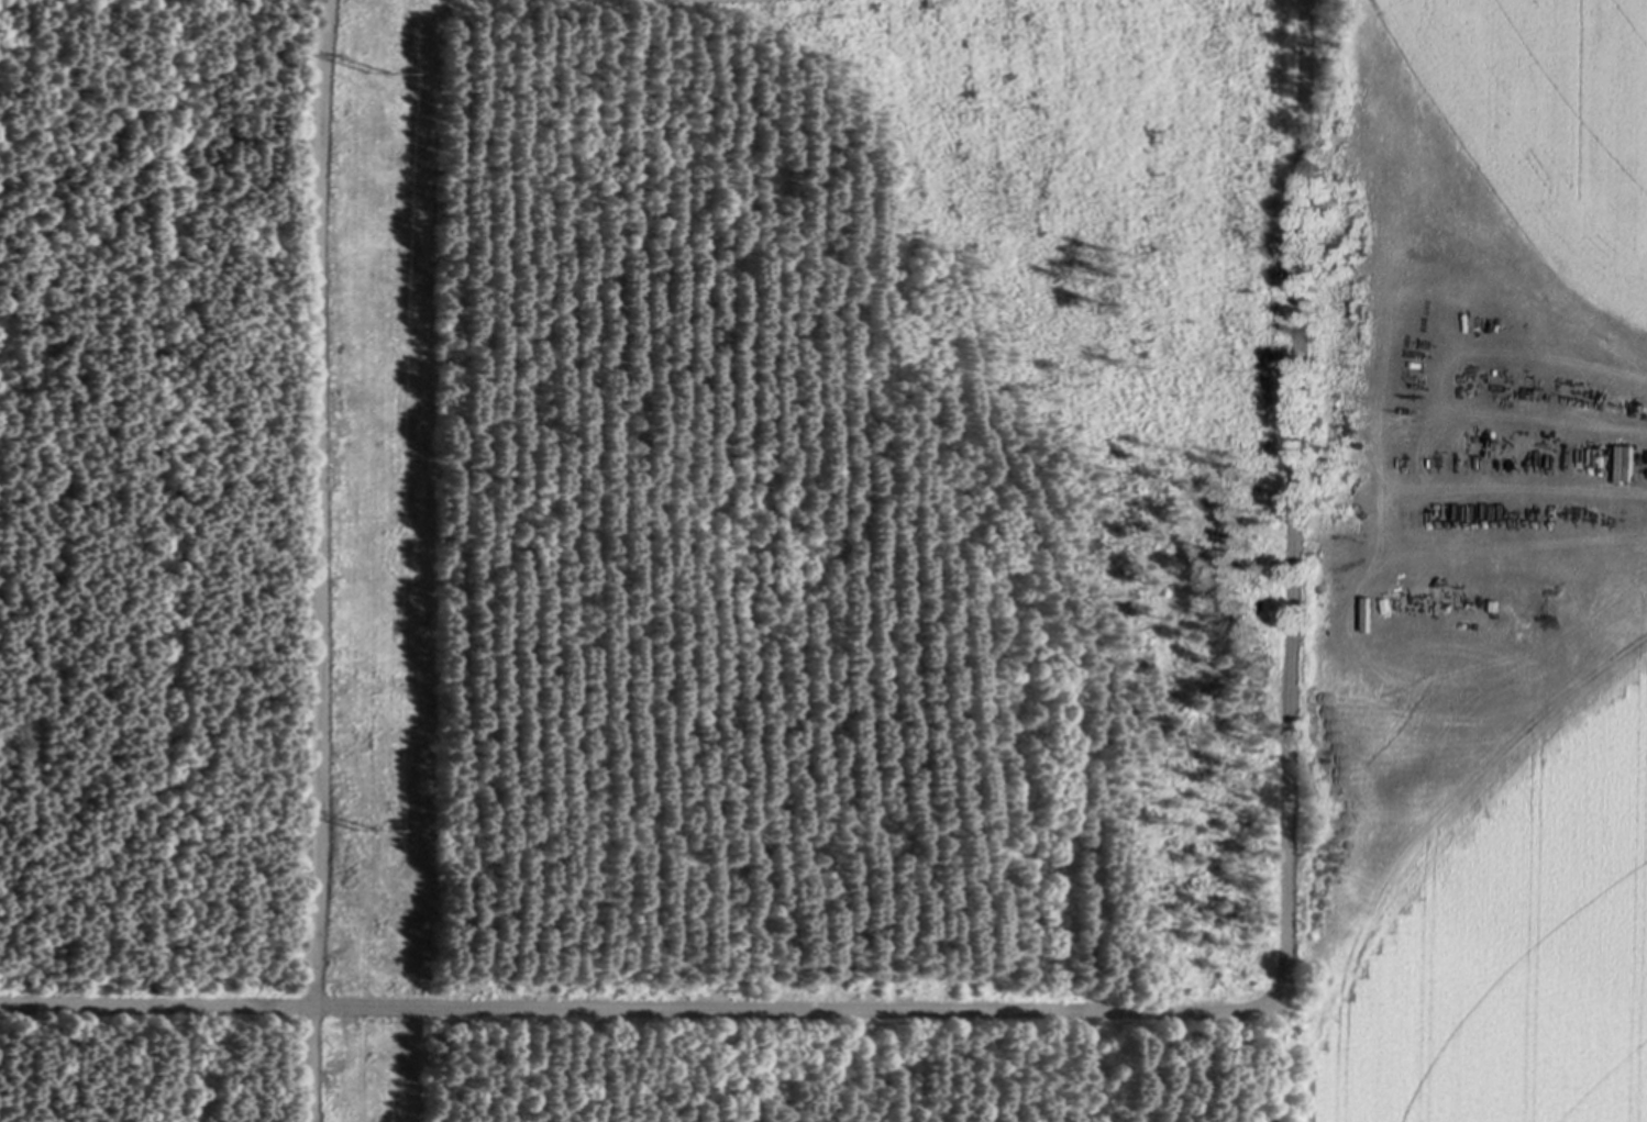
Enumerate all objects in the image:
power tower: (375, 70)
road: (320, 560)
crop: (1469, 565)
power tower: (364, 831)
road: (1140, 1006)

